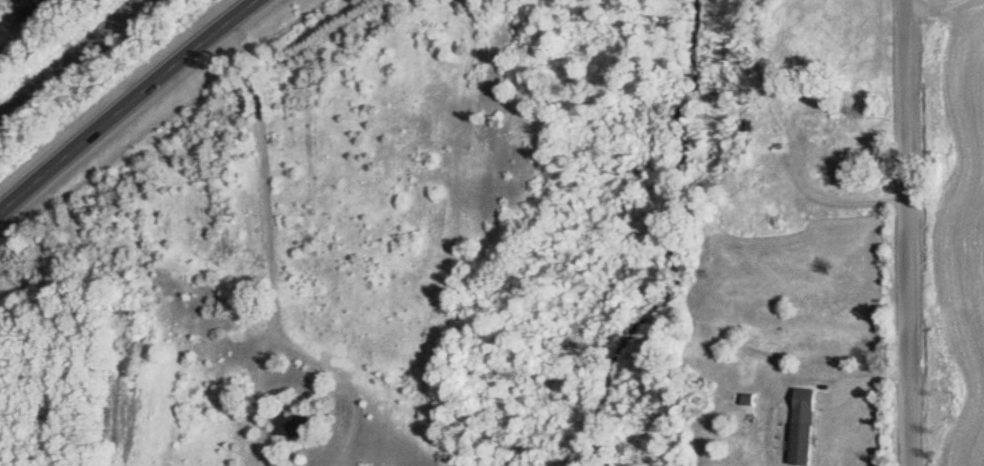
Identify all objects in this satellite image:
road: (936, 6)
railway: (75, 61)
road: (129, 108)
building: (820, 123)
road: (265, 164)
road: (913, 233)
road: (342, 375)
road: (262, 387)
building: (298, 429)
building: (809, 429)

